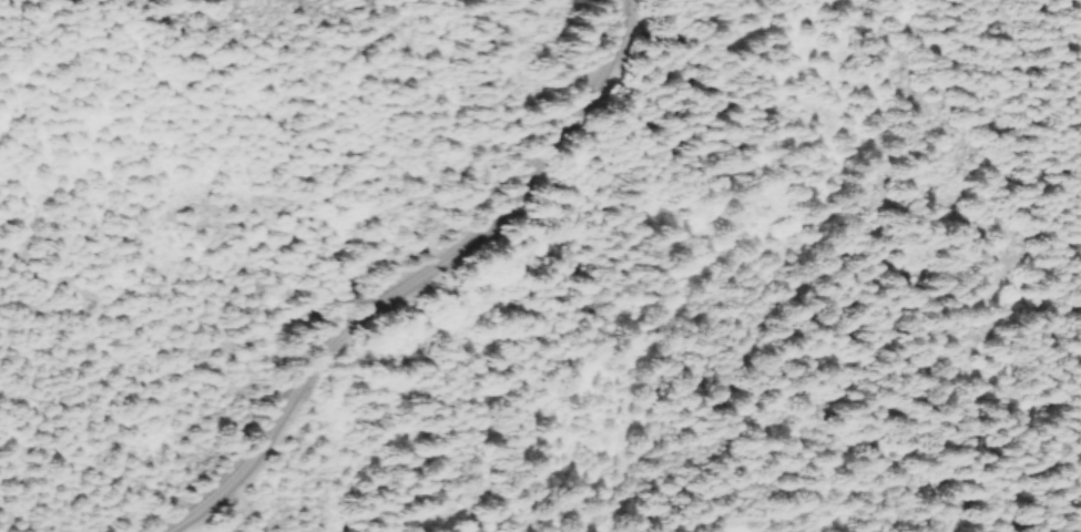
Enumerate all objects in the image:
road: (420, 283)

